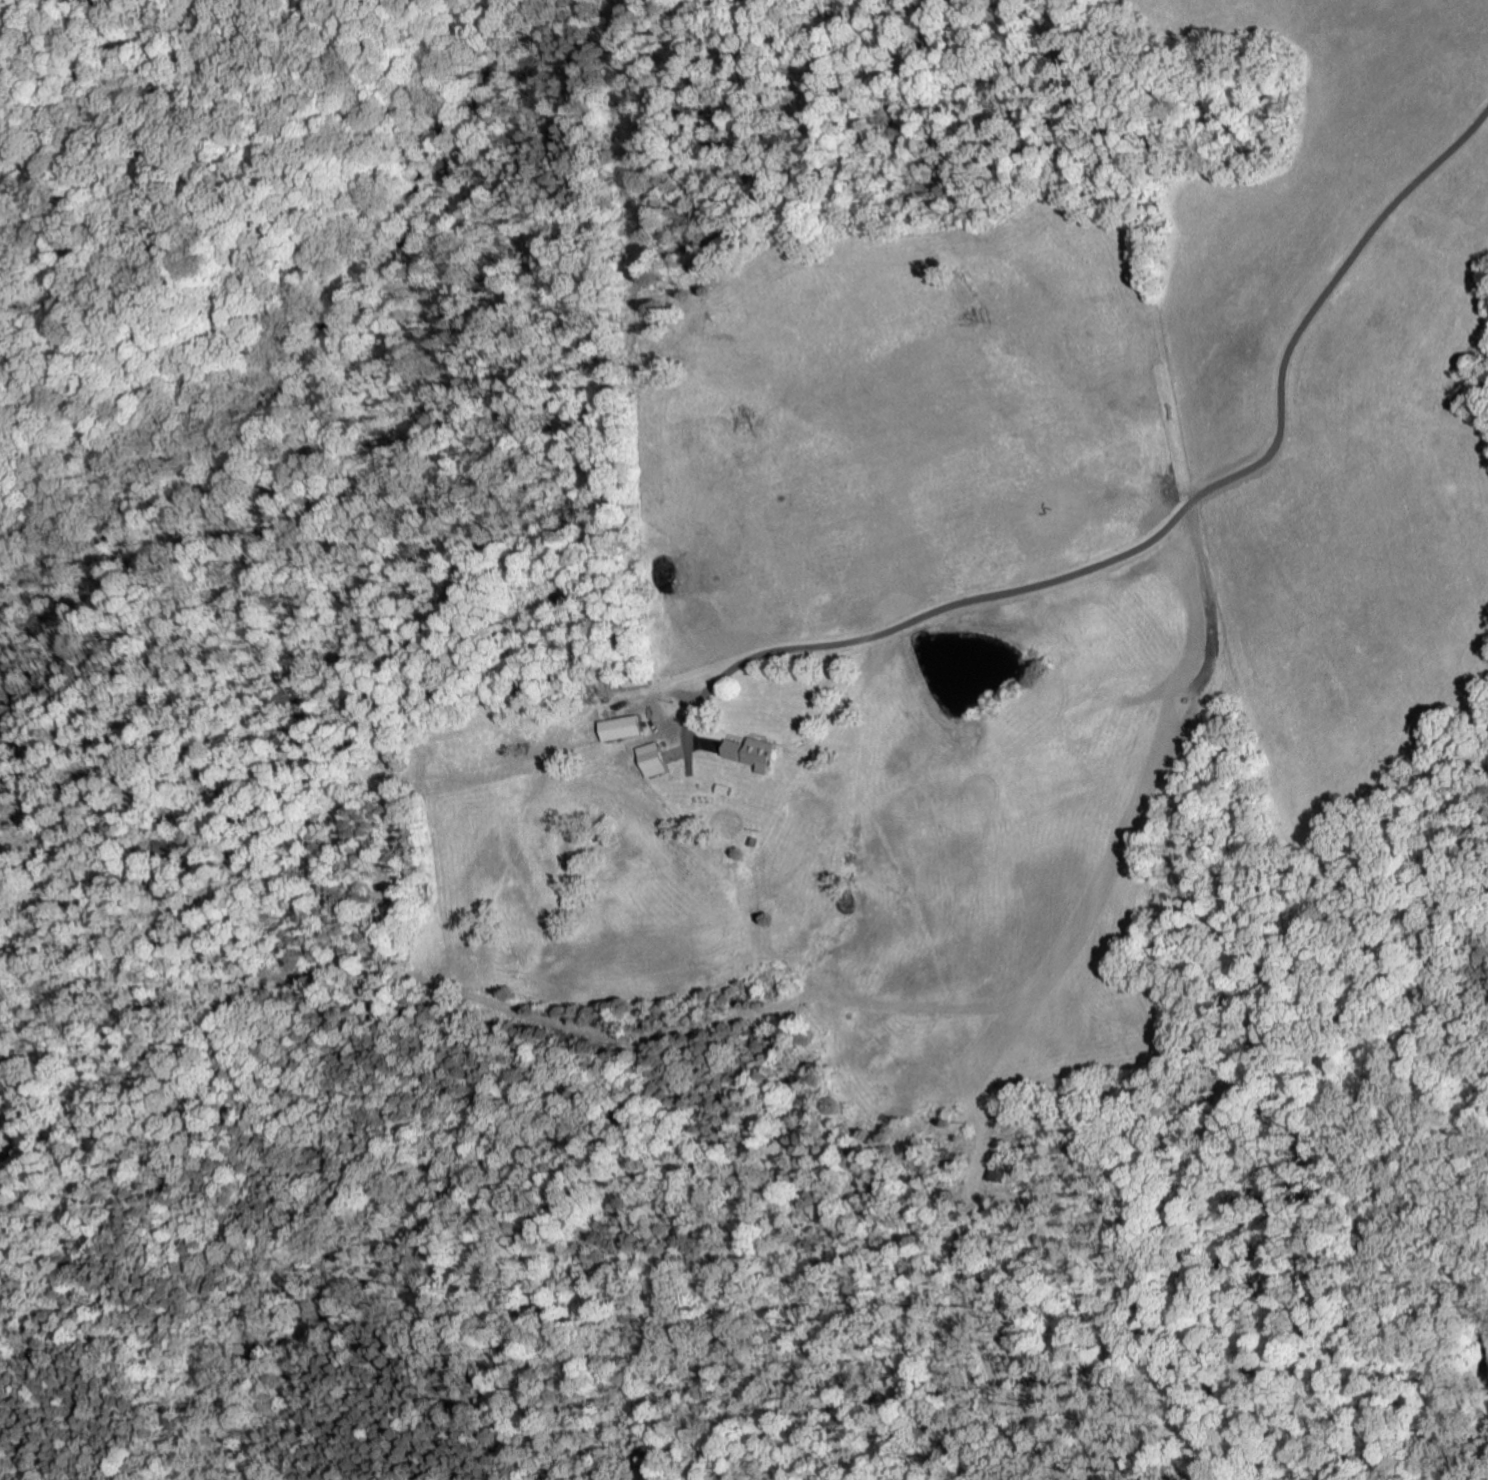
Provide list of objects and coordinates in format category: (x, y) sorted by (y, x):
road: (1155, 537)
building: (619, 728)
building: (747, 753)
building: (649, 760)

